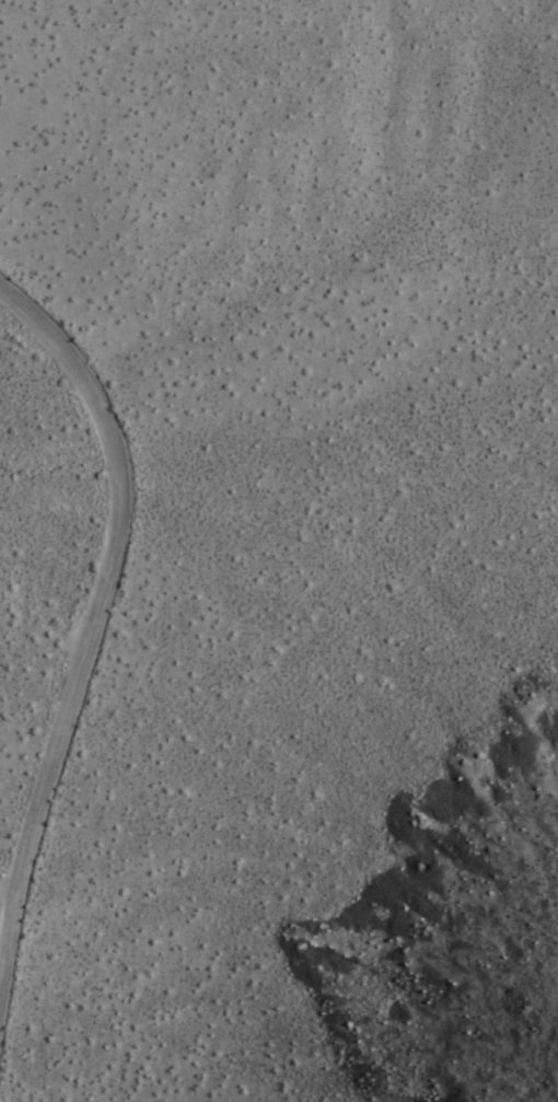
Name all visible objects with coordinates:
road: (102, 594)
road: (2, 888)

